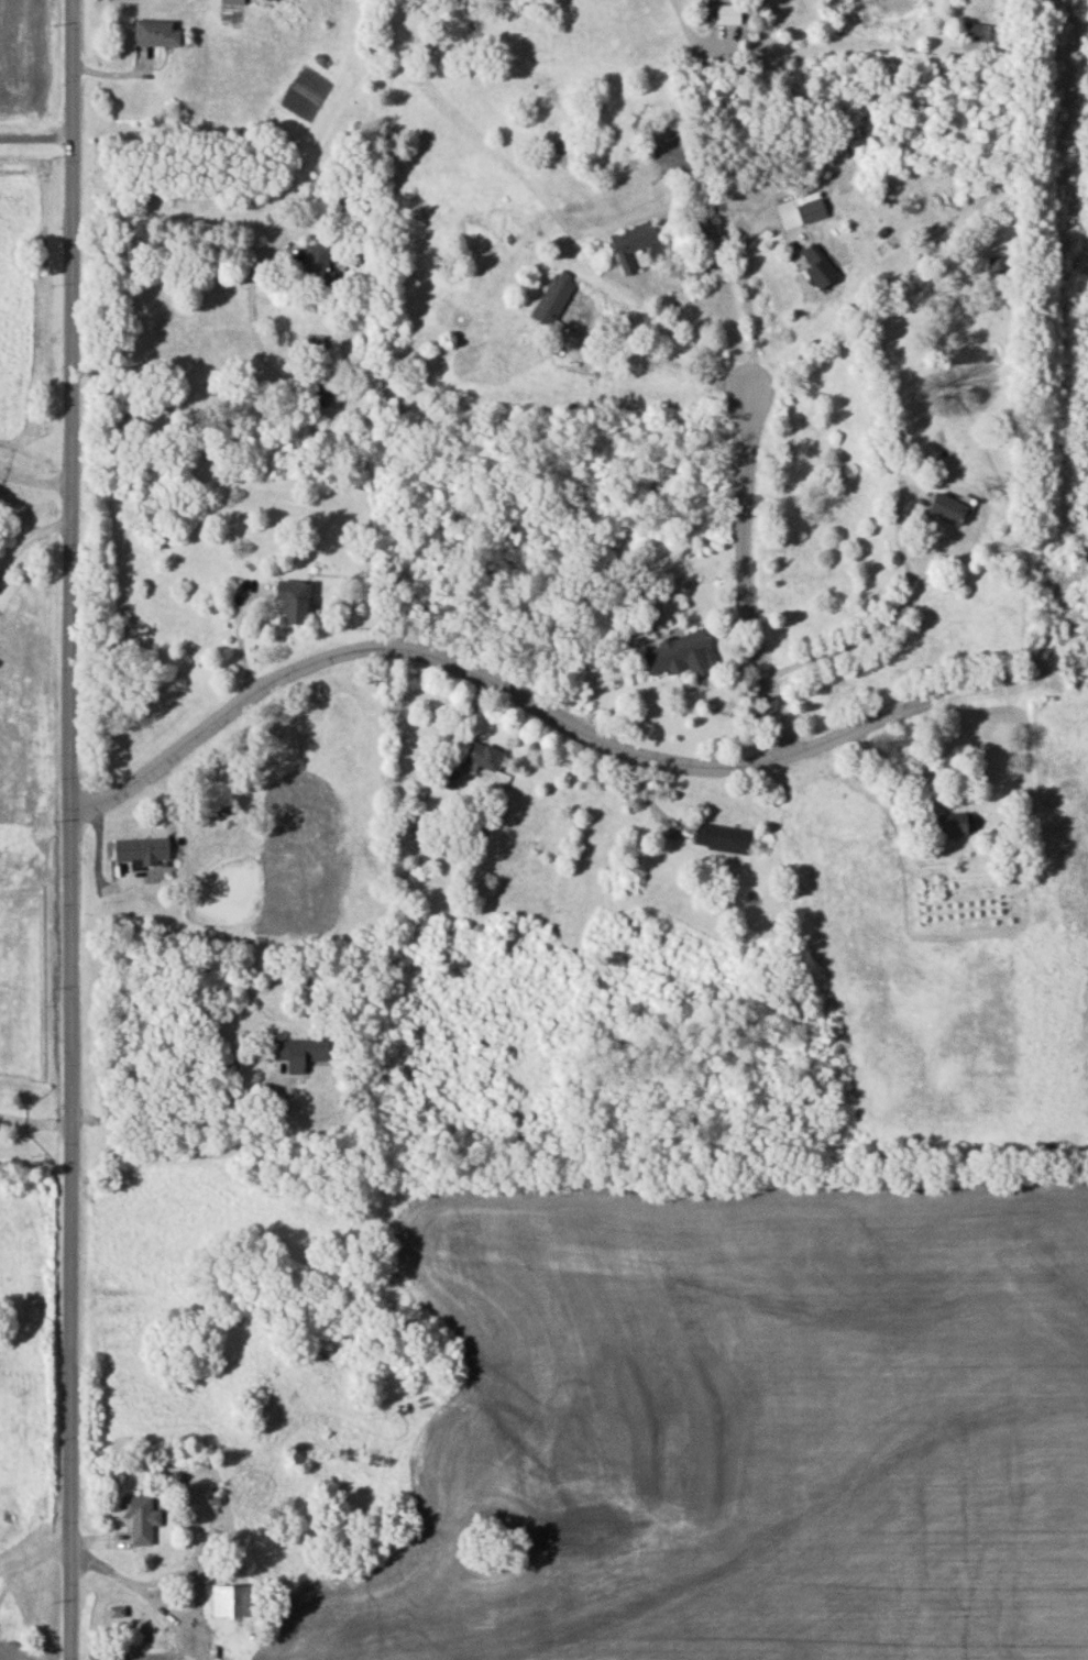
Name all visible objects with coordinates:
building: (230, 1)
building: (726, 13)
building: (157, 31)
road: (689, 31)
building: (974, 31)
road: (36, 124)
building: (812, 209)
building: (633, 239)
road: (242, 248)
building: (318, 263)
building: (823, 266)
building: (996, 268)
road: (682, 290)
road: (747, 293)
building: (554, 296)
road: (662, 361)
building: (326, 382)
road: (36, 481)
building: (948, 507)
road: (30, 536)
road: (749, 574)
building: (296, 600)
road: (886, 619)
building: (683, 652)
road: (482, 677)
building: (480, 754)
building: (444, 777)
building: (227, 809)
building: (954, 823)
road: (73, 829)
building: (723, 836)
building: (143, 848)
building: (298, 1052)
road: (36, 1120)
road: (179, 1121)
building: (139, 1517)
road: (36, 1552)
building: (230, 1599)

